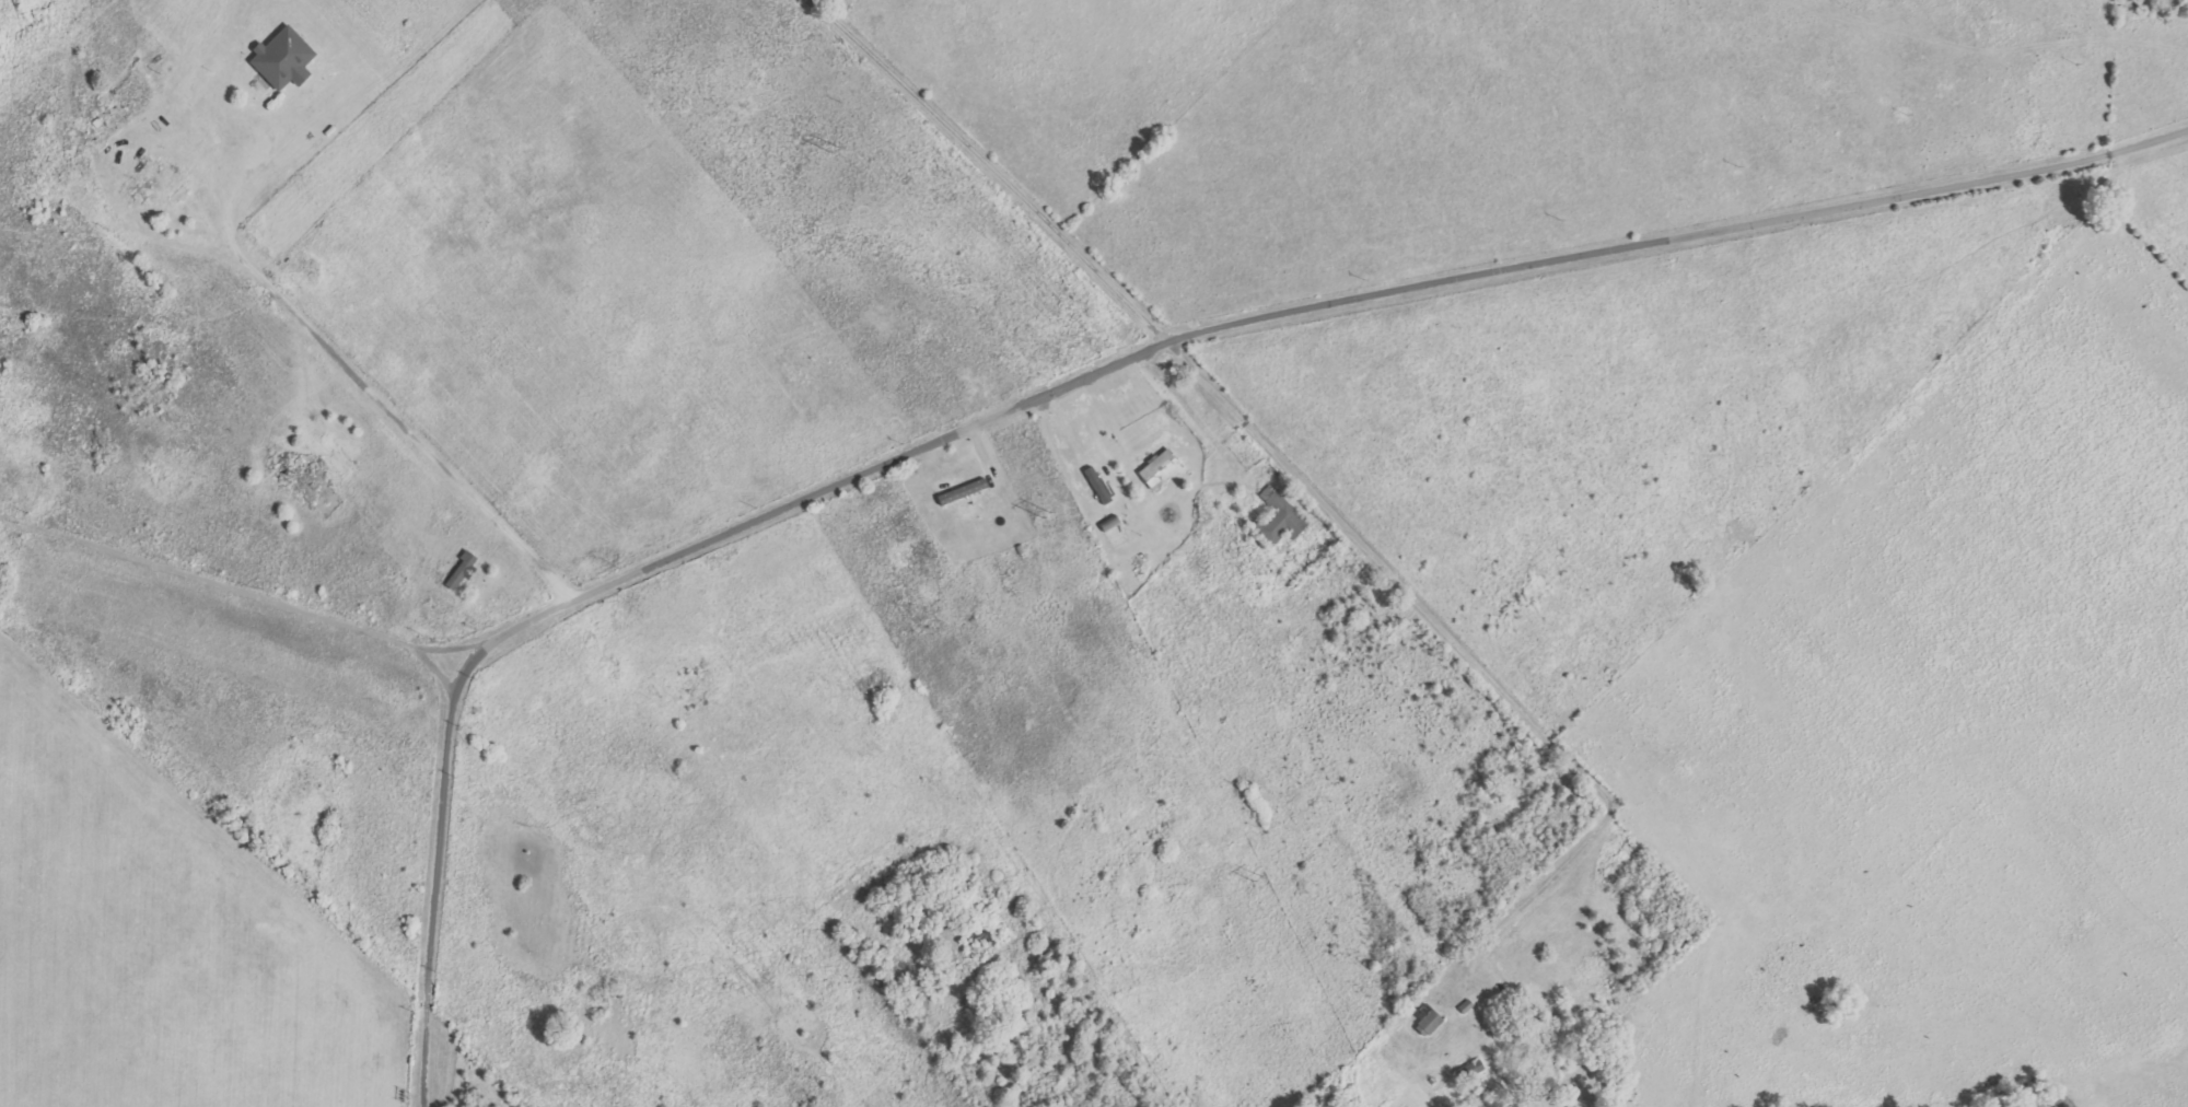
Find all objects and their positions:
building: (286, 60)
road: (2170, 66)
road: (991, 167)
road: (2145, 259)
road: (1087, 377)
building: (1162, 470)
building: (1281, 518)
road: (259, 599)
road: (1467, 654)
building: (1430, 1021)

